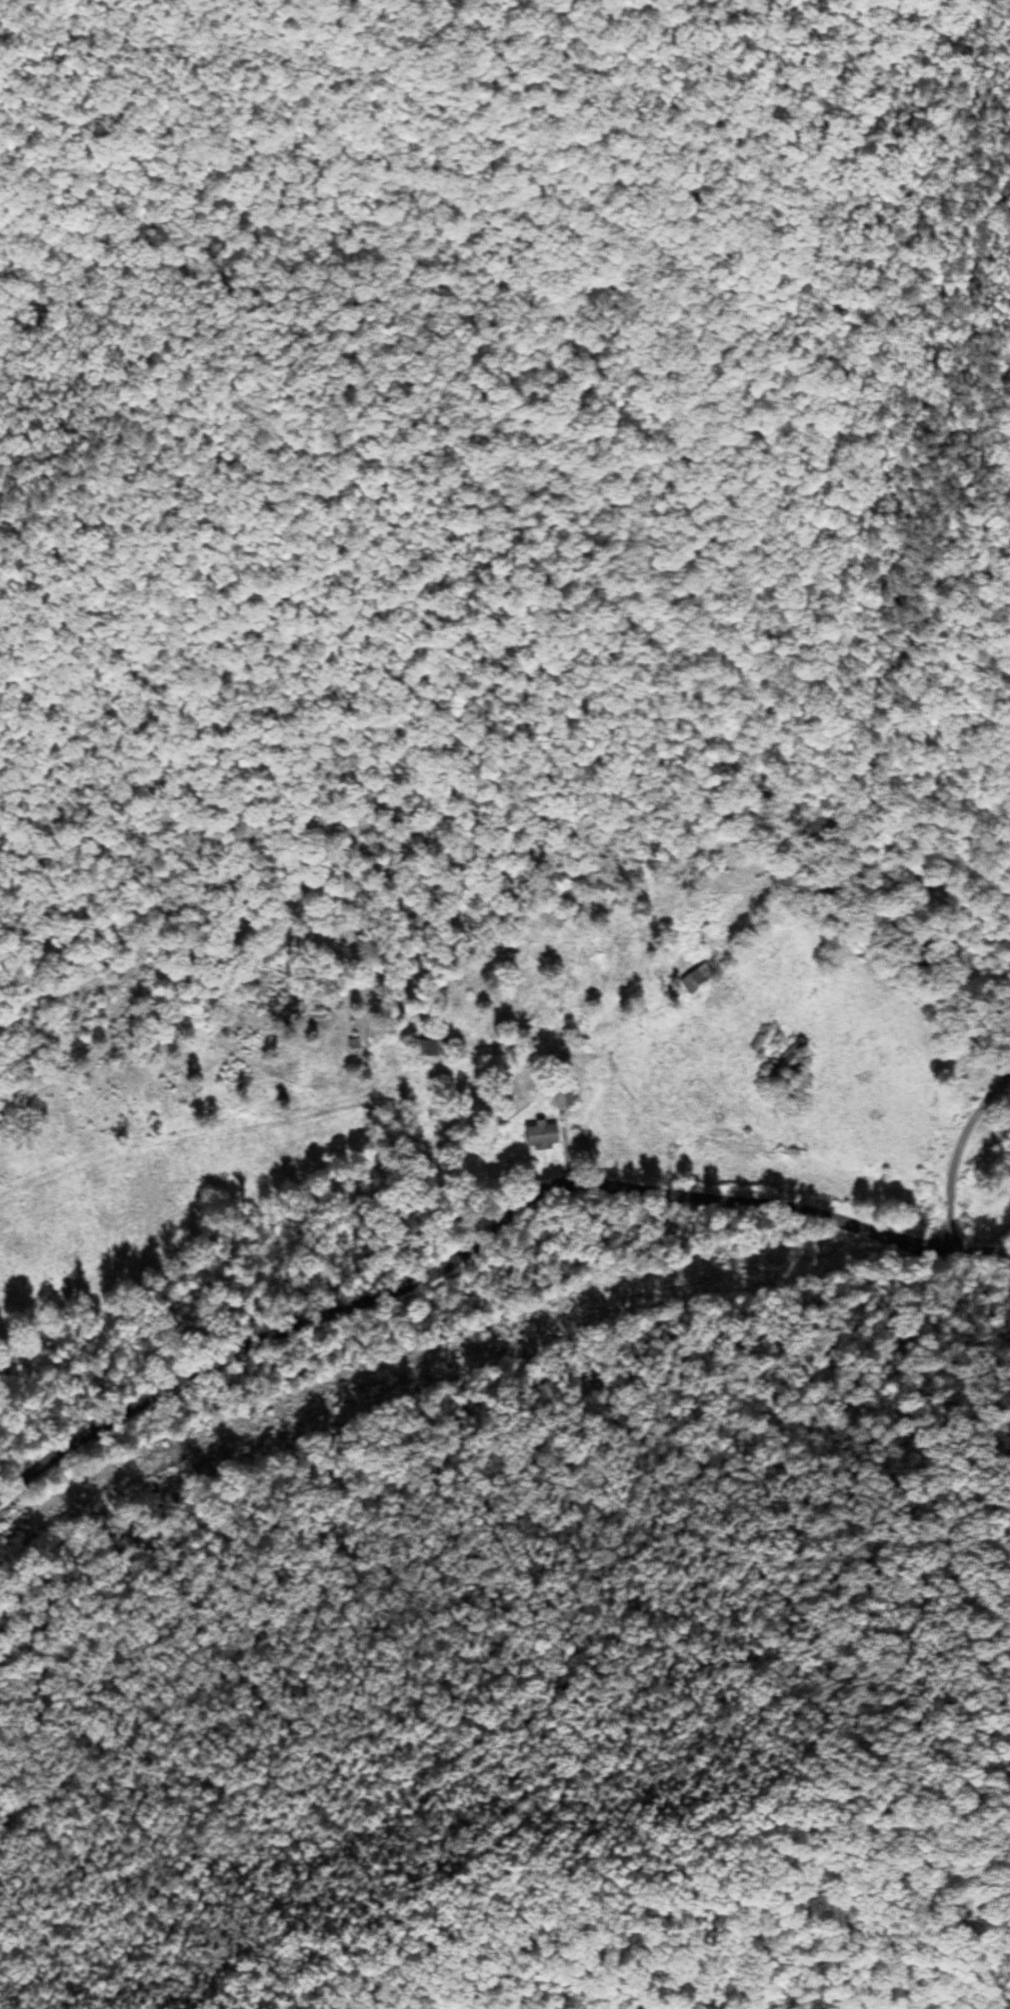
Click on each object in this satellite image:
road: (899, 592)
road: (874, 691)
road: (883, 968)
building: (691, 979)
building: (756, 1039)
building: (428, 1047)
building: (781, 1062)
building: (560, 1093)
road: (278, 1116)
building: (536, 1136)
road: (954, 1150)
road: (483, 1237)
road: (805, 1564)

